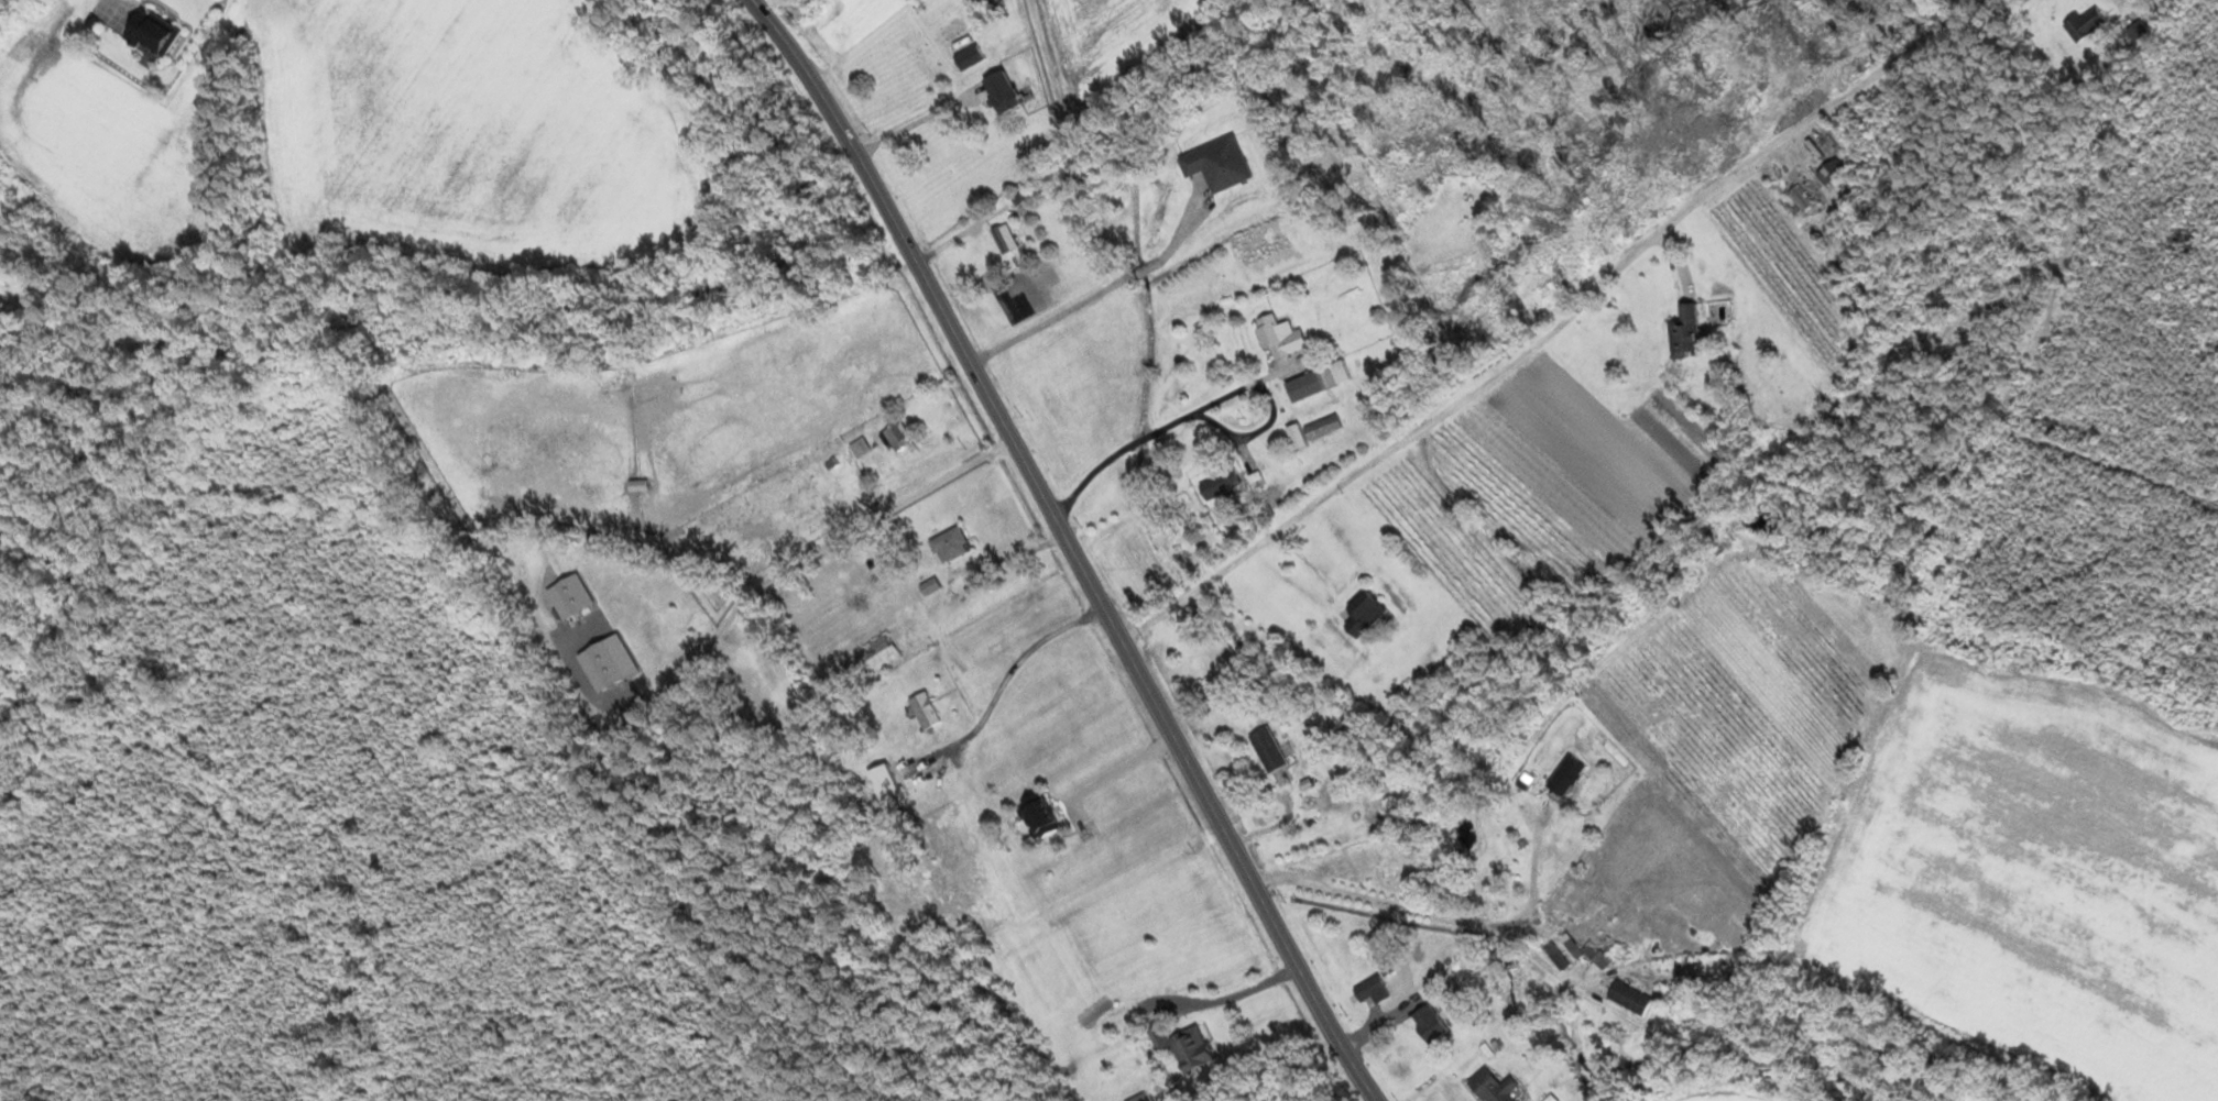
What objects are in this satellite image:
building: (2088, 22)
building: (2140, 31)
building: (152, 34)
building: (970, 55)
building: (1005, 89)
building: (1827, 174)
building: (1800, 197)
road: (1555, 330)
building: (1686, 331)
building: (1281, 334)
building: (1341, 371)
building: (1307, 385)
building: (1324, 425)
road: (1161, 428)
road: (1252, 432)
building: (898, 436)
building: (861, 445)
building: (1223, 482)
building: (951, 543)
road: (1074, 546)
building: (1367, 612)
building: (878, 651)
building: (927, 708)
building: (1270, 748)
building: (1569, 774)
building: (888, 785)
building: (1041, 815)
building: (1577, 949)
building: (1385, 959)
building: (1375, 988)
building: (1632, 994)
building: (1431, 1021)
building: (1187, 1044)
building: (1494, 1085)

